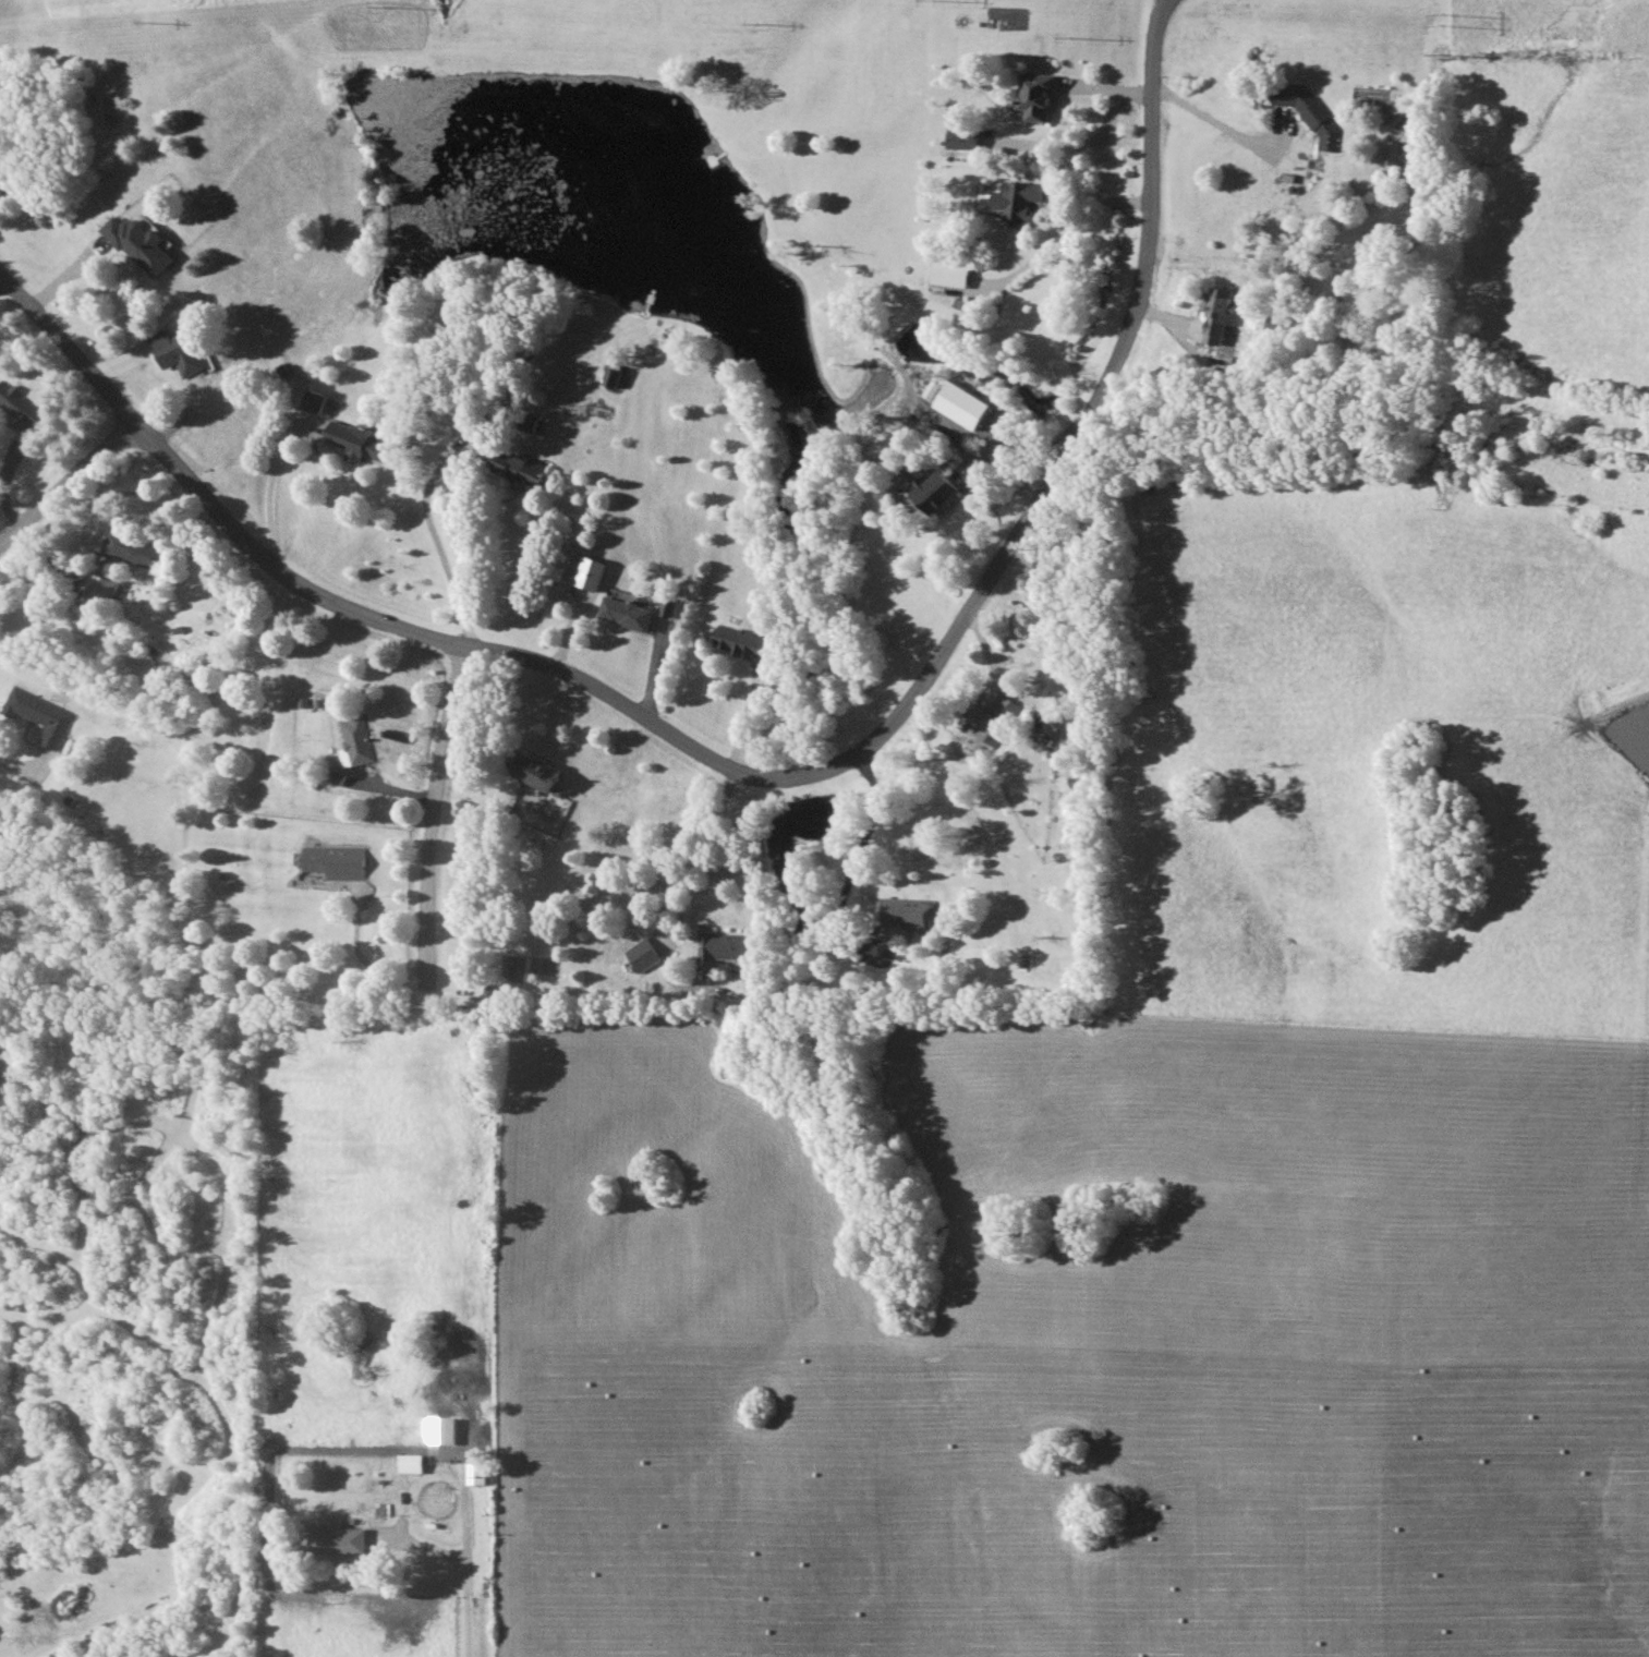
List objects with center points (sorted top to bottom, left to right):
power tower: (1439, 14)
building: (1038, 97)
building: (1311, 112)
road: (1214, 119)
road: (1096, 135)
building: (965, 138)
building: (0, 145)
building: (1391, 152)
building: (1019, 198)
road: (1068, 222)
building: (141, 244)
building: (953, 274)
building: (1221, 315)
building: (175, 352)
building: (615, 377)
building: (936, 389)
building: (315, 400)
building: (22, 404)
building: (966, 404)
building: (530, 422)
building: (361, 442)
road: (1020, 446)
building: (519, 468)
road: (71, 488)
building: (937, 491)
road: (436, 543)
building: (591, 573)
building: (100, 591)
building: (668, 607)
building: (626, 613)
building: (745, 641)
building: (44, 715)
building: (995, 718)
building: (357, 742)
road: (14, 769)
building: (537, 772)
road: (766, 776)
road: (433, 814)
road: (858, 860)
building: (337, 861)
road: (676, 886)
building: (908, 911)
building: (725, 946)
building: (642, 954)
road: (361, 957)
building: (444, 1430)
building: (412, 1463)
building: (478, 1473)
building: (340, 1538)
road: (468, 1598)

